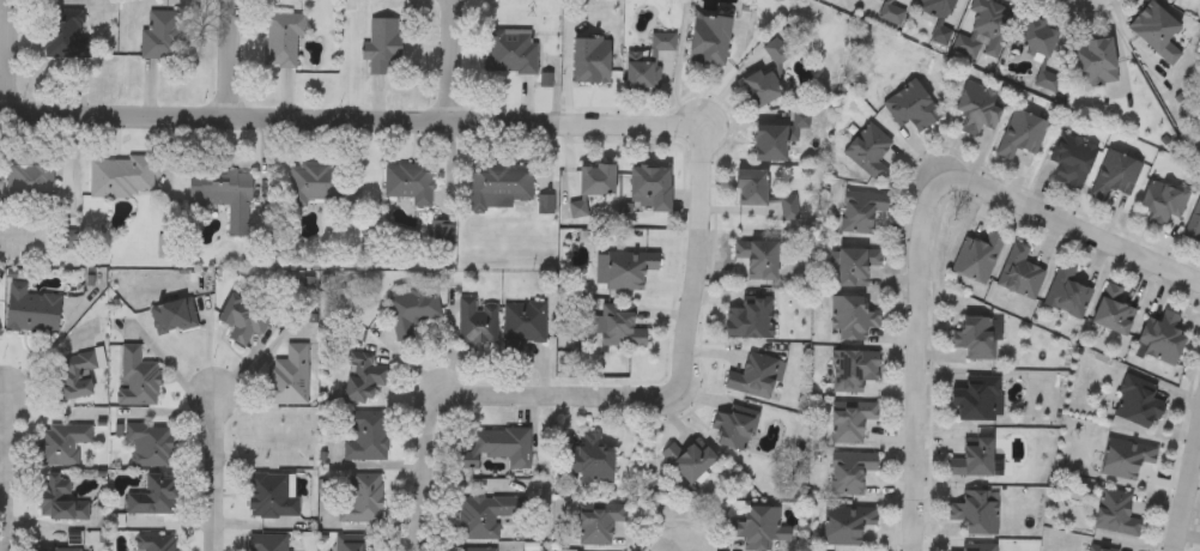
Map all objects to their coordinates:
road: (1093, 2)
road: (1099, 2)
building: (937, 14)
building: (890, 16)
building: (984, 29)
building: (1156, 31)
building: (66, 34)
building: (162, 36)
building: (1038, 37)
building: (709, 38)
building: (281, 40)
building: (381, 44)
building: (513, 53)
building: (775, 53)
road: (8, 57)
road: (232, 60)
building: (592, 60)
road: (449, 61)
building: (649, 62)
building: (1096, 62)
building: (762, 87)
building: (911, 108)
building: (978, 109)
road: (351, 121)
building: (1020, 134)
building: (770, 143)
building: (868, 152)
building: (1072, 161)
building: (1115, 175)
building: (123, 177)
building: (29, 180)
building: (598, 180)
building: (313, 183)
building: (410, 184)
building: (501, 187)
building: (751, 187)
building: (650, 188)
building: (224, 196)
building: (1164, 202)
building: (860, 213)
building: (1193, 225)
road: (1069, 228)
building: (976, 259)
building: (758, 260)
road: (695, 262)
building: (854, 265)
building: (623, 271)
building: (1019, 273)
building: (1067, 292)
building: (412, 310)
building: (31, 311)
building: (1114, 313)
building: (172, 317)
building: (750, 317)
building: (851, 319)
building: (243, 320)
building: (478, 321)
building: (525, 323)
building: (620, 327)
building: (975, 338)
building: (1162, 339)
road: (913, 361)
building: (854, 370)
building: (72, 377)
building: (753, 377)
building: (135, 379)
building: (287, 379)
building: (364, 379)
road: (477, 396)
building: (977, 399)
building: (1139, 401)
building: (850, 422)
building: (734, 426)
building: (365, 437)
building: (61, 443)
building: (150, 444)
building: (277, 447)
building: (497, 447)
building: (1126, 458)
building: (975, 459)
building: (690, 460)
building: (590, 461)
road: (4, 470)
road: (211, 471)
building: (849, 473)
road: (1186, 483)
building: (272, 496)
building: (153, 497)
building: (56, 498)
building: (363, 498)
building: (975, 511)
building: (1115, 514)
building: (486, 515)
building: (599, 523)
building: (847, 526)
building: (758, 528)
building: (267, 543)
building: (349, 543)
building: (154, 544)
building: (976, 547)
building: (60, 549)
building: (1097, 549)
building: (474, 550)

